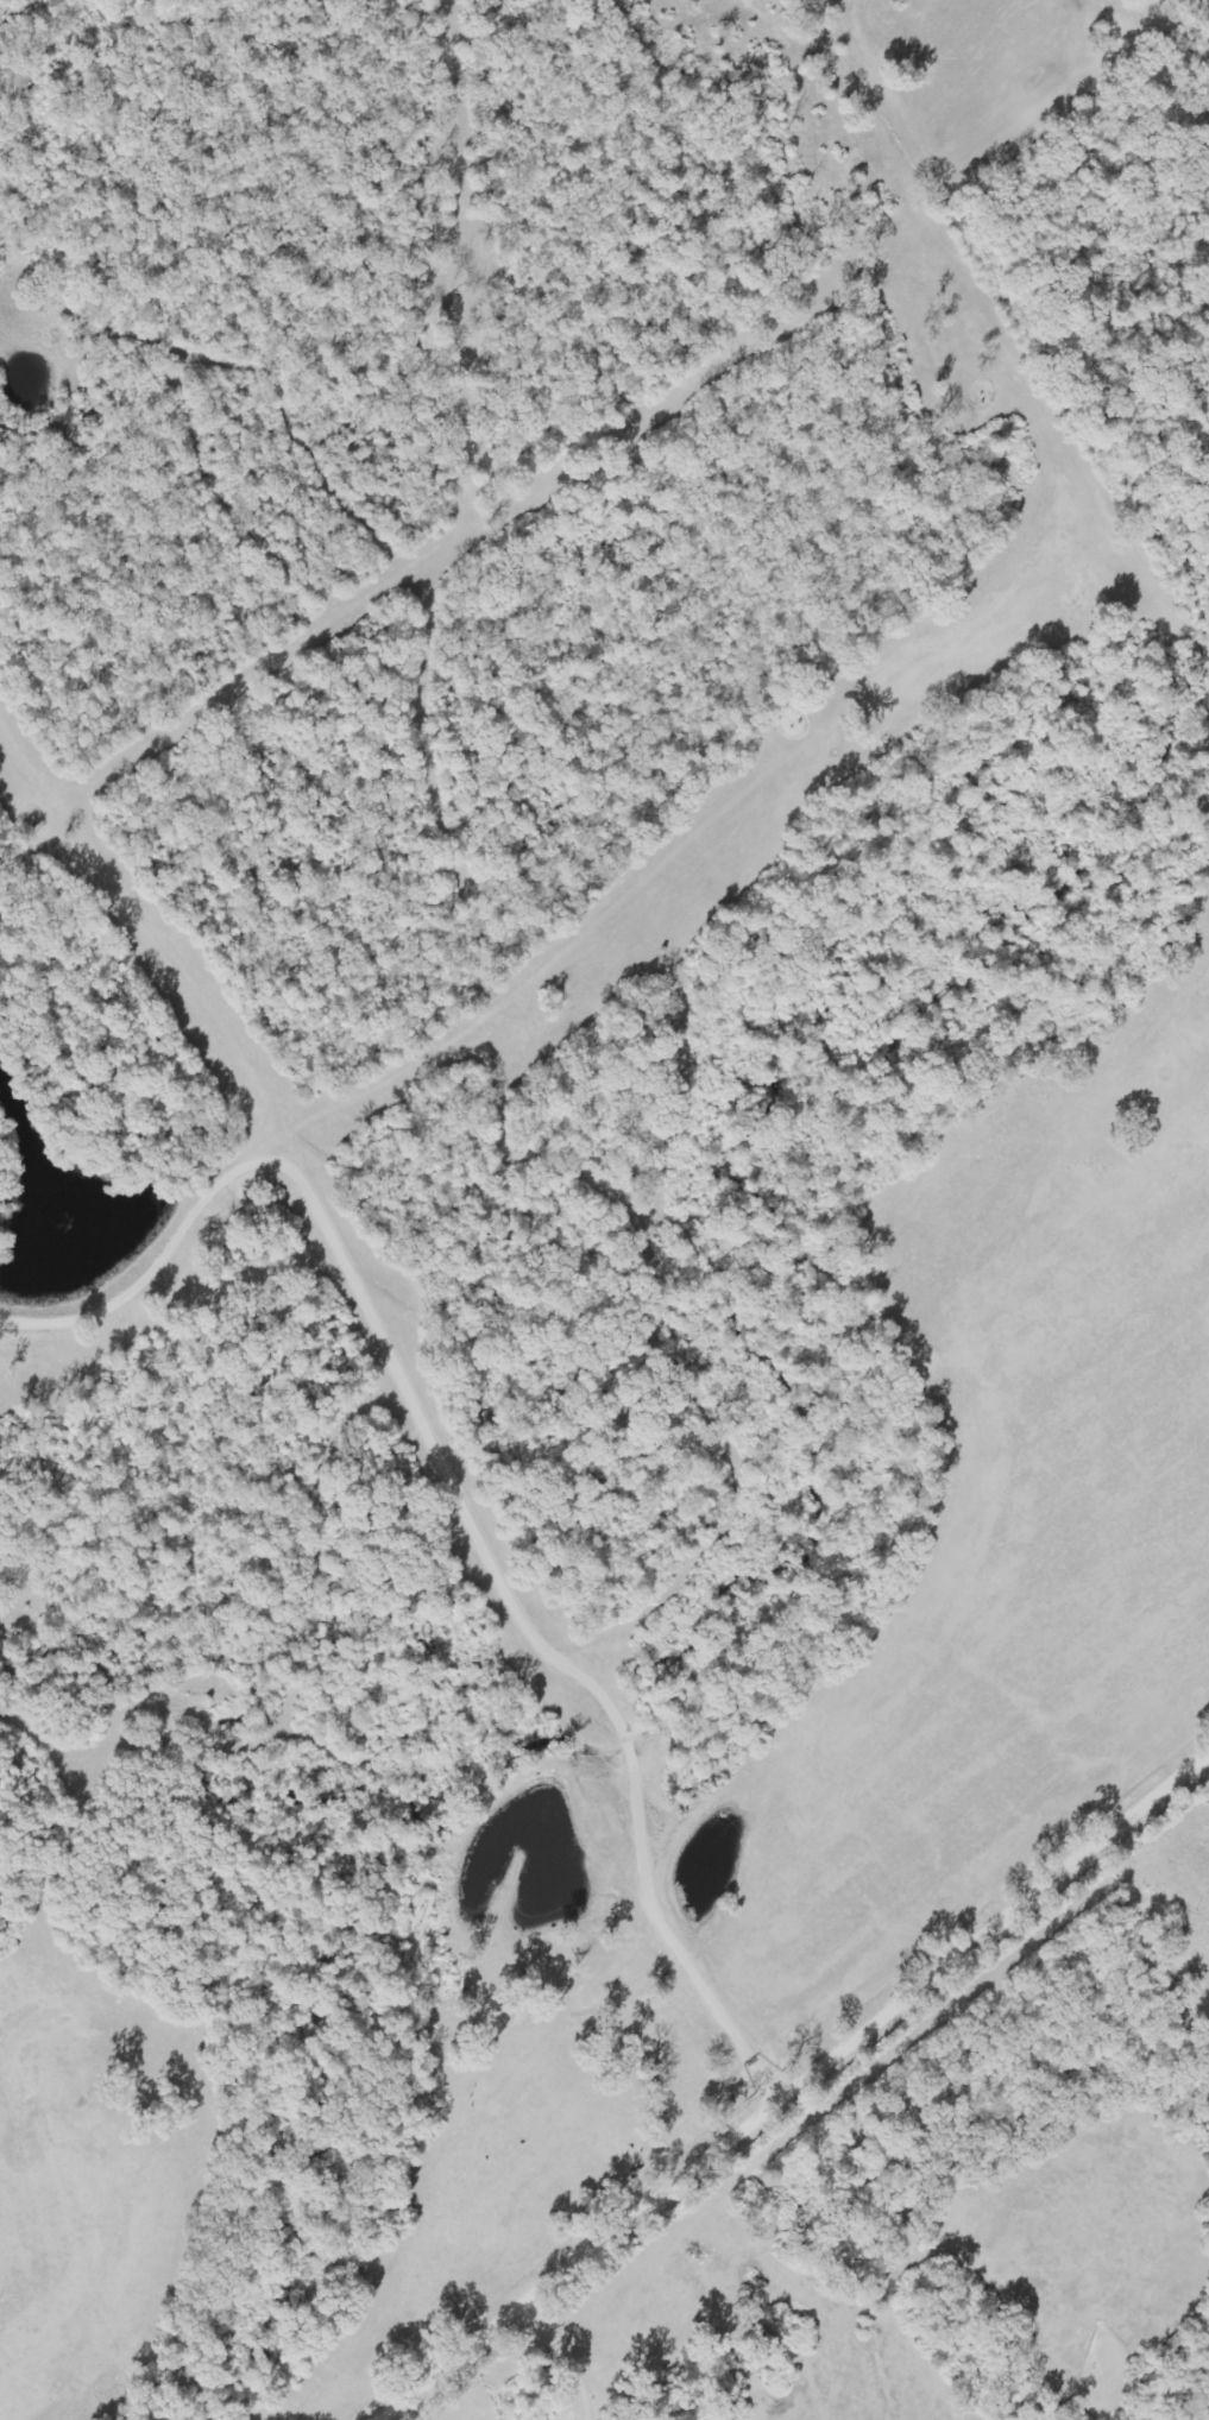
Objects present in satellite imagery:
road: (497, 1032)
road: (64, 1916)
road: (796, 2093)

